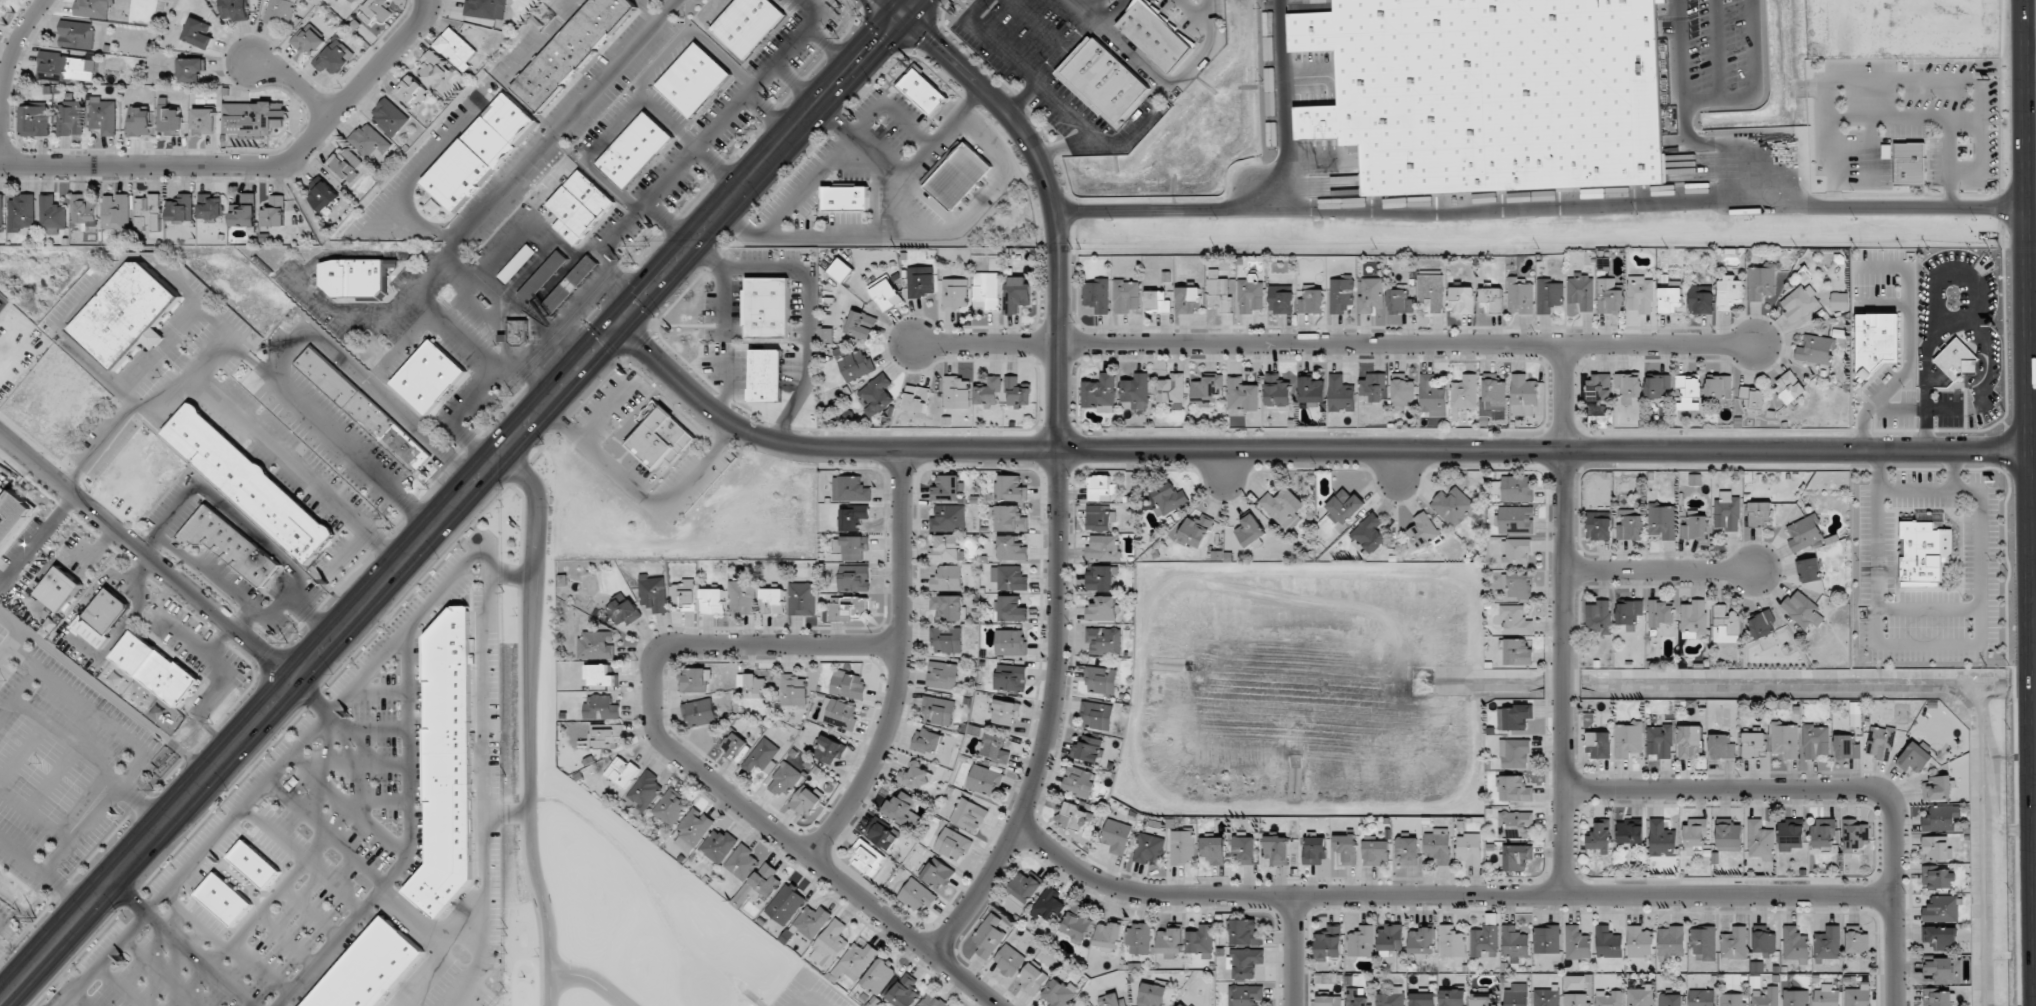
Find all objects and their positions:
building: (353, 1)
road: (665, 3)
road: (1714, 5)
road: (1751, 5)
building: (0, 6)
road: (893, 6)
road: (905, 6)
road: (1679, 6)
building: (94, 8)
building: (233, 9)
building: (486, 9)
road: (647, 9)
road: (1733, 10)
building: (376, 11)
building: (280, 12)
traffic signals: (900, 12)
road: (1697, 12)
building: (747, 24)
building: (199, 33)
building: (77, 34)
building: (1155, 35)
road: (681, 36)
road: (818, 37)
power tower: (838, 38)
road: (543, 39)
building: (308, 40)
building: (455, 47)
building: (572, 51)
building: (334, 57)
road: (1682, 57)
road: (781, 65)
building: (65, 67)
building: (433, 68)
building: (191, 69)
road: (5, 77)
building: (694, 79)
building: (1104, 80)
road: (295, 84)
road: (1753, 87)
building: (922, 90)
building: (411, 92)
building: (1491, 92)
road: (1284, 105)
building: (103, 116)
building: (390, 116)
building: (70, 118)
building: (252, 118)
building: (168, 119)
building: (35, 121)
building: (203, 121)
building: (140, 122)
power tower: (756, 128)
road: (685, 140)
building: (370, 141)
road: (1728, 144)
road: (700, 146)
building: (635, 149)
building: (481, 152)
building: (347, 163)
road: (524, 163)
building: (1910, 163)
road: (252, 165)
building: (957, 174)
road: (409, 178)
road: (610, 185)
road: (548, 189)
building: (1655, 192)
building: (322, 194)
building: (846, 197)
road: (1054, 201)
building: (579, 206)
building: (210, 207)
building: (180, 208)
road: (1540, 208)
building: (84, 210)
building: (116, 211)
building: (244, 211)
building: (1, 212)
building: (22, 212)
building: (148, 212)
building: (274, 212)
building: (52, 215)
road: (666, 219)
road: (534, 220)
road: (343, 254)
power tower: (634, 261)
building: (517, 263)
building: (841, 270)
road: (608, 272)
building: (356, 276)
building: (543, 276)
road: (2025, 278)
building: (920, 281)
building: (1761, 281)
building: (571, 284)
road: (1936, 286)
road: (496, 288)
building: (987, 289)
building: (1219, 290)
building: (1432, 291)
building: (1582, 291)
building: (1730, 292)
building: (885, 293)
building: (956, 294)
building: (1017, 294)
building: (1341, 294)
building: (1640, 294)
building: (1097, 295)
building: (1250, 295)
building: (1371, 295)
building: (1549, 295)
building: (1127, 296)
building: (1520, 296)
building: (1609, 297)
building: (1281, 299)
building: (1701, 299)
building: (1188, 300)
building: (1462, 300)
building: (1491, 300)
building: (1670, 300)
building: (1158, 301)
building: (1311, 301)
building: (1839, 301)
building: (1400, 302)
building: (1799, 302)
building: (767, 307)
road: (347, 312)
building: (127, 314)
traffic signals: (618, 325)
building: (861, 325)
road: (554, 331)
building: (518, 332)
building: (826, 335)
road: (405, 342)
building: (1877, 342)
road: (1907, 343)
road: (1334, 344)
building: (1816, 350)
building: (1957, 360)
road: (1990, 360)
building: (853, 364)
road: (524, 367)
road: (482, 373)
building: (766, 375)
building: (428, 377)
building: (1657, 385)
building: (1373, 386)
building: (1600, 386)
building: (1789, 386)
building: (1171, 388)
building: (1206, 389)
building: (1311, 389)
building: (1136, 390)
building: (1402, 390)
building: (1277, 391)
building: (1466, 391)
building: (1689, 391)
building: (989, 392)
building: (957, 393)
building: (1100, 393)
power tower: (512, 394)
building: (1340, 394)
building: (1524, 395)
building: (877, 396)
building: (1494, 396)
building: (1241, 397)
building: (1433, 397)
building: (1754, 397)
building: (917, 398)
road: (1915, 409)
building: (363, 411)
building: (648, 413)
building: (661, 439)
road: (1302, 450)
road: (1953, 469)
building: (248, 483)
building: (947, 488)
building: (1012, 488)
building: (1101, 488)
building: (1517, 488)
power tower: (427, 489)
building: (851, 489)
building: (1169, 499)
building: (1281, 505)
building: (1344, 507)
building: (1453, 507)
road: (451, 508)
building: (1727, 511)
building: (1760, 514)
building: (853, 517)
building: (1099, 517)
building: (13, 518)
building: (949, 518)
building: (1010, 519)
building: (1516, 520)
building: (1662, 520)
power tower: (392, 525)
building: (1598, 525)
building: (1630, 525)
building: (1694, 528)
building: (1196, 529)
building: (1250, 530)
building: (1423, 531)
building: (1369, 533)
building: (1804, 533)
building: (233, 546)
building: (854, 547)
building: (1010, 548)
building: (1103, 548)
building: (1516, 552)
building: (1924, 552)
road: (146, 560)
building: (1810, 570)
road: (1662, 571)
road: (508, 577)
building: (1009, 577)
building: (854, 578)
building: (948, 578)
building: (1100, 578)
road: (2033, 580)
building: (1517, 584)
building: (60, 588)
building: (653, 593)
building: (685, 594)
building: (743, 596)
building: (771, 599)
building: (802, 599)
building: (712, 601)
building: (949, 607)
road: (1928, 607)
building: (848, 608)
building: (1012, 609)
building: (1103, 609)
building: (623, 611)
building: (1803, 611)
building: (1661, 613)
building: (1629, 614)
building: (102, 617)
building: (1599, 618)
building: (1694, 618)
building: (1516, 620)
road: (1563, 620)
building: (1762, 624)
building: (1726, 625)
road: (530, 627)
building: (947, 639)
building: (1104, 640)
power tower: (287, 642)
road: (483, 642)
building: (1010, 643)
building: (596, 645)
road: (1958, 646)
building: (1518, 652)
road: (900, 665)
building: (155, 668)
building: (600, 675)
building: (943, 675)
road: (365, 676)
building: (1010, 677)
building: (695, 679)
building: (1101, 679)
building: (848, 684)
road: (107, 685)
building: (753, 685)
building: (794, 690)
road: (311, 698)
building: (601, 707)
building: (939, 711)
building: (700, 712)
building: (1005, 712)
building: (841, 714)
building: (1855, 714)
building: (1096, 715)
road: (1051, 717)
building: (1514, 717)
building: (604, 736)
building: (1628, 739)
building: (1785, 740)
building: (928, 741)
building: (1660, 741)
building: (1690, 741)
building: (1816, 741)
building: (1881, 742)
building: (1754, 744)
building: (1599, 745)
building: (735, 746)
building: (1721, 746)
building: (995, 747)
building: (1846, 747)
building: (830, 749)
building: (1088, 749)
building: (1515, 753)
building: (762, 756)
building: (1914, 758)
building: (447, 765)
road: (699, 770)
building: (621, 772)
building: (915, 776)
building: (784, 780)
building: (984, 780)
building: (1079, 781)
road: (2031, 781)
building: (1938, 788)
power tower: (153, 789)
building: (1514, 789)
road: (1832, 790)
building: (645, 791)
building: (806, 800)
building: (670, 807)
building: (902, 808)
building: (968, 815)
building: (1076, 817)
building: (1941, 818)
building: (693, 829)
park: (598, 831)
building: (1695, 832)
building: (1824, 833)
building: (1791, 834)
building: (884, 835)
building: (1631, 835)
building: (1117, 836)
building: (1600, 837)
building: (1729, 837)
building: (1856, 837)
building: (1662, 839)
building: (1760, 840)
building: (953, 844)
building: (718, 845)
building: (1439, 845)
building: (1182, 847)
building: (1149, 848)
building: (1346, 848)
building: (1936, 848)
building: (1470, 849)
building: (1213, 850)
building: (1243, 850)
building: (1277, 850)
building: (1314, 850)
building: (1407, 851)
building: (1376, 852)
building: (868, 857)
building: (1517, 857)
building: (741, 862)
building: (256, 863)
building: (938, 873)
building: (1938, 878)
building: (759, 884)
building: (1025, 887)
road: (129, 895)
building: (917, 895)
road: (1448, 897)
building: (224, 898)
building: (786, 904)
building: (1049, 905)
road: (544, 909)
building: (1942, 909)
road: (481, 914)
power tower: (35, 918)
building: (812, 921)
building: (1076, 923)
building: (1245, 932)
building: (1108, 935)
building: (989, 936)
building: (1942, 937)
building: (1138, 938)
building: (1390, 939)
building: (1547, 939)
building: (1422, 940)
building: (1200, 941)
building: (1485, 941)
building: (1361, 942)
building: (1451, 942)
building: (1514, 942)
building: (1577, 942)
building: (1608, 942)
building: (1639, 942)
building: (1671, 942)
building: (1764, 942)
building: (1858, 942)
building: (1329, 943)
building: (1703, 943)
building: (1734, 943)
building: (1795, 944)
building: (1828, 944)
building: (830, 945)
road: (1295, 952)
building: (1009, 960)
building: (857, 961)
building: (1246, 963)
building: (370, 968)
building: (1943, 970)
building: (880, 976)
building: (1033, 978)
road: (593, 980)
building: (1576, 982)
building: (905, 992)
building: (1060, 993)
building: (1152, 995)
building: (1245, 995)
building: (1515, 995)
building: (1547, 996)
building: (1640, 996)
building: (1826, 996)
building: (1858, 996)
building: (1357, 997)
building: (1392, 997)
building: (1453, 997)
building: (1702, 997)
building: (1766, 997)
building: (1938, 997)
building: (1608, 998)
building: (1796, 998)
building: (1113, 999)
building: (1422, 999)
building: (1484, 999)
building: (1577, 999)
road: (813, 1000)
building: (933, 1000)
building: (1330, 1000)
building: (1671, 1000)
building: (1732, 1000)
building: (1182, 1005)

